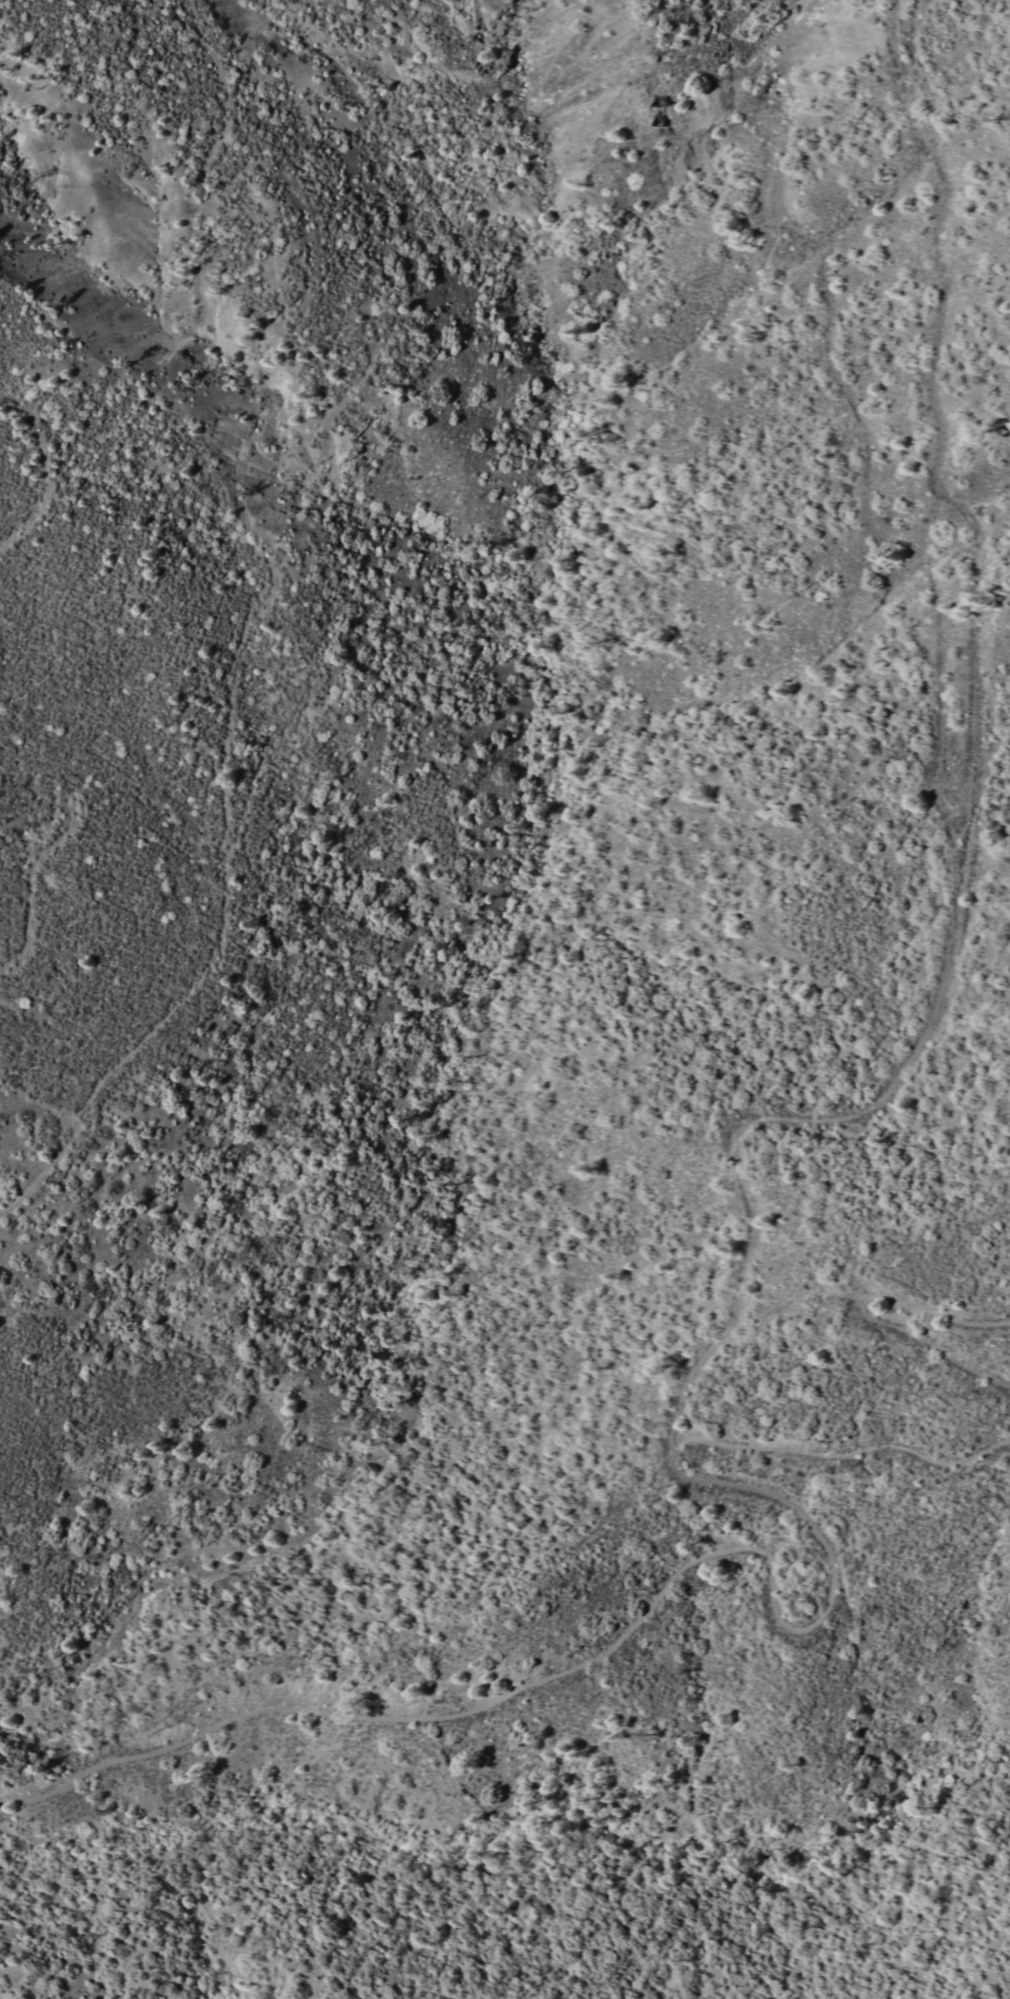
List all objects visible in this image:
quarry: (433, 286)
road: (861, 1309)
road: (724, 1552)

